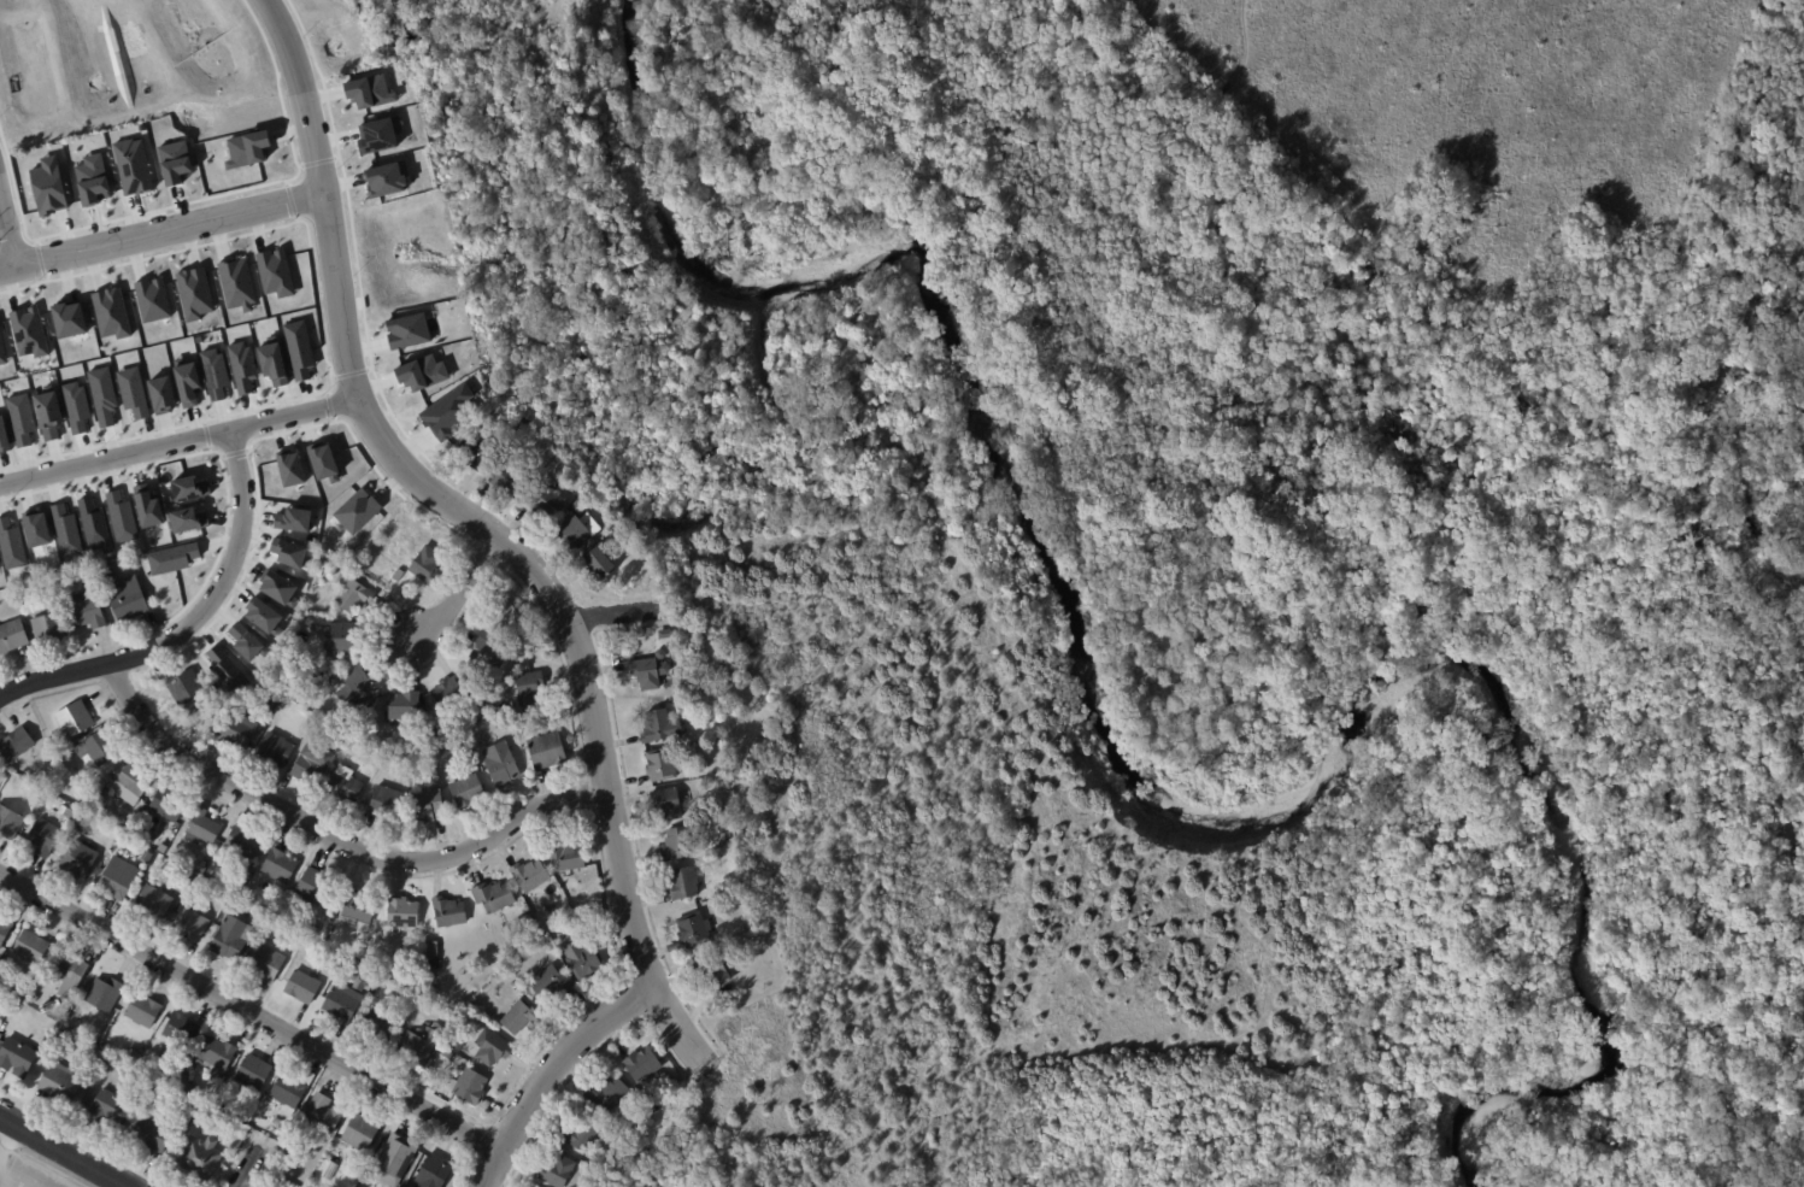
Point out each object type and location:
building: (368, 92)
building: (140, 127)
building: (377, 134)
building: (246, 149)
building: (174, 161)
road: (317, 161)
building: (131, 166)
building: (386, 178)
building: (90, 180)
building: (47, 187)
road: (196, 200)
road: (290, 201)
road: (161, 231)
road: (7, 235)
road: (354, 253)
road: (39, 259)
building: (274, 272)
building: (235, 283)
building: (193, 293)
building: (151, 299)
building: (111, 312)
road: (319, 318)
building: (67, 319)
building: (406, 330)
building: (28, 331)
building: (204, 339)
building: (196, 340)
building: (298, 348)
building: (1, 354)
building: (271, 363)
building: (241, 366)
road: (351, 372)
building: (421, 372)
building: (213, 374)
building: (187, 383)
building: (131, 392)
building: (160, 394)
building: (101, 395)
building: (75, 406)
road: (328, 406)
building: (446, 411)
building: (47, 415)
building: (19, 418)
road: (206, 435)
building: (4, 436)
road: (177, 441)
building: (474, 451)
road: (205, 452)
road: (234, 453)
road: (251, 457)
building: (557, 460)
building: (322, 462)
building: (289, 468)
building: (506, 480)
building: (188, 488)
building: (543, 501)
building: (575, 504)
building: (147, 506)
building: (355, 510)
building: (121, 517)
building: (187, 519)
building: (292, 519)
building: (93, 525)
road: (483, 527)
building: (35, 528)
building: (64, 530)
building: (569, 531)
road: (459, 534)
building: (11, 545)
building: (288, 553)
building: (324, 553)
road: (483, 553)
building: (172, 558)
building: (427, 564)
building: (598, 564)
building: (321, 570)
road: (486, 575)
building: (399, 576)
building: (64, 578)
building: (277, 588)
road: (459, 592)
building: (355, 598)
building: (129, 599)
building: (88, 609)
building: (510, 612)
road: (618, 613)
building: (263, 616)
road: (190, 621)
building: (51, 627)
road: (574, 634)
building: (663, 634)
building: (13, 635)
building: (345, 639)
building: (246, 642)
building: (487, 653)
building: (223, 668)
building: (644, 675)
building: (531, 687)
building: (359, 688)
building: (190, 691)
building: (452, 693)
building: (274, 698)
building: (406, 704)
building: (688, 712)
building: (77, 718)
building: (510, 724)
building: (657, 727)
building: (240, 728)
building: (449, 730)
building: (339, 733)
building: (59, 740)
building: (18, 744)
building: (100, 748)
building: (280, 748)
building: (410, 748)
building: (548, 750)
building: (321, 751)
building: (65, 753)
building: (504, 765)
building: (704, 765)
building: (1, 768)
building: (657, 768)
building: (310, 771)
building: (0, 777)
building: (94, 778)
building: (404, 780)
building: (134, 783)
building: (346, 785)
road: (625, 787)
building: (470, 792)
building: (388, 803)
building: (431, 803)
building: (170, 804)
building: (665, 805)
building: (11, 817)
building: (715, 819)
building: (204, 827)
building: (46, 835)
road: (334, 839)
building: (245, 842)
building: (723, 842)
building: (128, 846)
building: (671, 846)
building: (84, 856)
building: (569, 856)
building: (148, 857)
building: (205, 864)
building: (281, 865)
building: (531, 875)
building: (119, 877)
building: (681, 883)
building: (315, 885)
building: (223, 894)
building: (494, 897)
building: (157, 901)
building: (235, 905)
building: (360, 907)
building: (405, 912)
building: (449, 912)
road: (607, 917)
building: (193, 919)
building: (745, 923)
building: (521, 924)
building: (272, 925)
building: (6, 930)
building: (691, 930)
building: (399, 936)
building: (235, 938)
building: (34, 947)
building: (434, 948)
building: (316, 951)
building: (587, 959)
building: (270, 964)
building: (712, 970)
building: (70, 974)
building: (369, 975)
building: (1, 977)
building: (556, 981)
building: (304, 986)
building: (436, 992)
building: (106, 994)
road: (634, 998)
building: (35, 999)
building: (345, 1000)
building: (145, 1010)
road: (249, 1012)
building: (446, 1015)
building: (522, 1018)
building: (381, 1026)
building: (183, 1030)
building: (422, 1045)
building: (47, 1046)
building: (460, 1046)
building: (496, 1050)
building: (222, 1052)
building: (133, 1053)
building: (19, 1057)
road: (584, 1063)
building: (645, 1064)
building: (257, 1071)
road: (546, 1071)
building: (184, 1079)
building: (63, 1083)
building: (471, 1087)
building: (190, 1088)
building: (293, 1089)
building: (610, 1092)
building: (112, 1109)
building: (327, 1113)
building: (189, 1115)
building: (201, 1117)
building: (636, 1128)
building: (187, 1130)
building: (283, 1132)
building: (155, 1133)
building: (365, 1133)
building: (584, 1135)
road: (507, 1136)
road: (7, 1139)
road: (64, 1151)
building: (400, 1157)
building: (202, 1158)
road: (46, 1160)
road: (249, 1160)
building: (329, 1170)
building: (559, 1170)
parking lot: (24, 1173)
building: (435, 1173)
building: (594, 1173)

